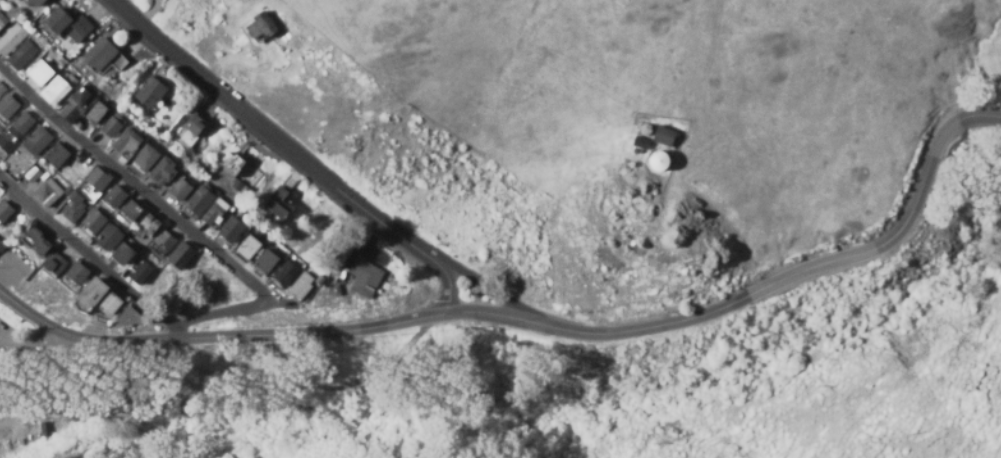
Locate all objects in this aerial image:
building: (1, 23)
building: (71, 26)
building: (259, 28)
building: (15, 47)
building: (102, 57)
building: (44, 73)
building: (1, 90)
building: (59, 90)
building: (149, 92)
building: (8, 107)
building: (21, 125)
building: (188, 133)
building: (666, 137)
building: (640, 143)
building: (46, 146)
road: (292, 155)
building: (661, 161)
building: (243, 170)
building: (32, 172)
building: (162, 173)
building: (97, 179)
building: (113, 197)
building: (281, 203)
building: (69, 207)
building: (5, 211)
road: (168, 214)
building: (231, 229)
building: (158, 234)
building: (108, 237)
building: (43, 245)
building: (1, 249)
road: (85, 254)
building: (131, 263)
building: (56, 264)
building: (275, 267)
building: (363, 277)
road: (486, 288)
building: (104, 298)
building: (133, 318)
road: (537, 325)
road: (177, 332)
road: (228, 399)
building: (42, 430)

